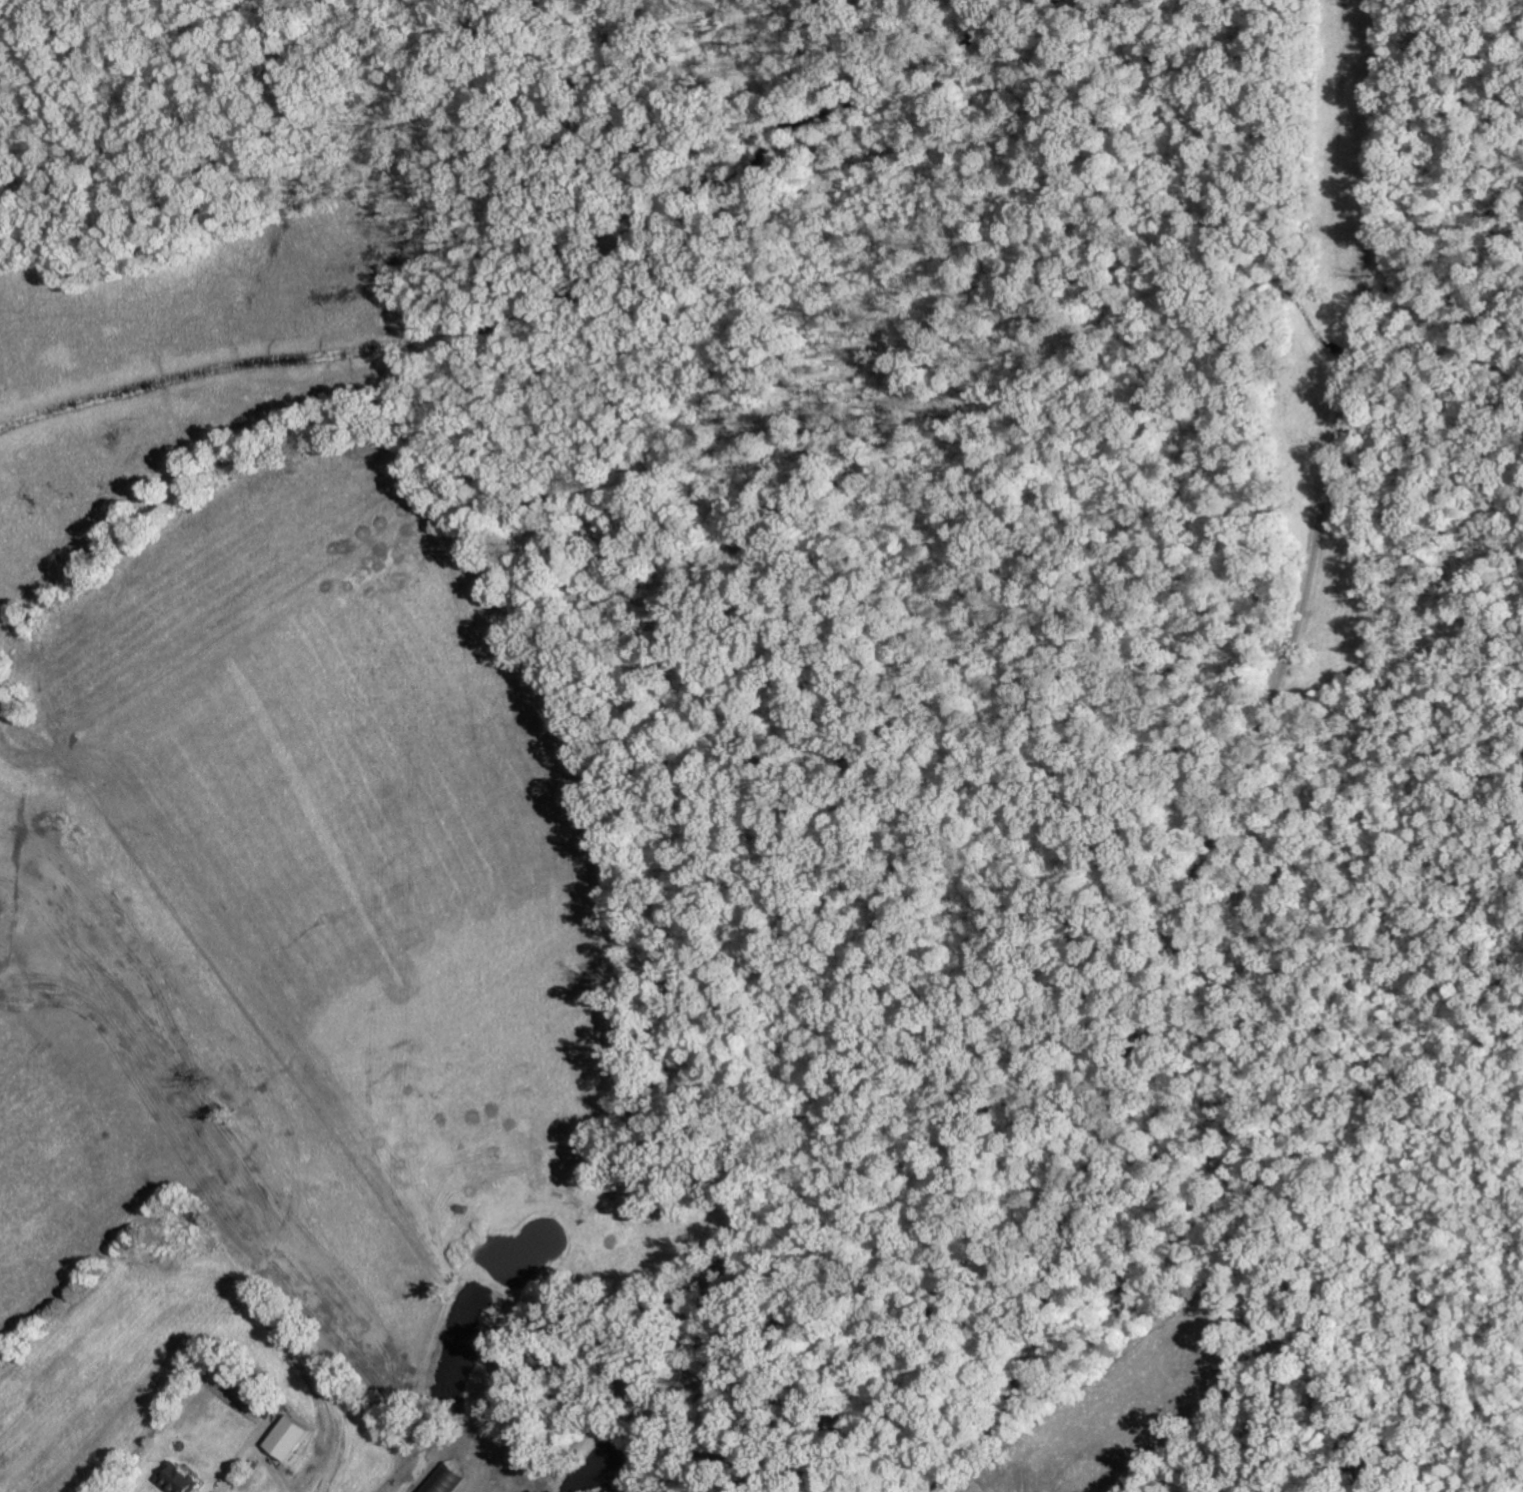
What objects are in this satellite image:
road: (1237, 775)
building: (285, 1439)
building: (174, 1479)

